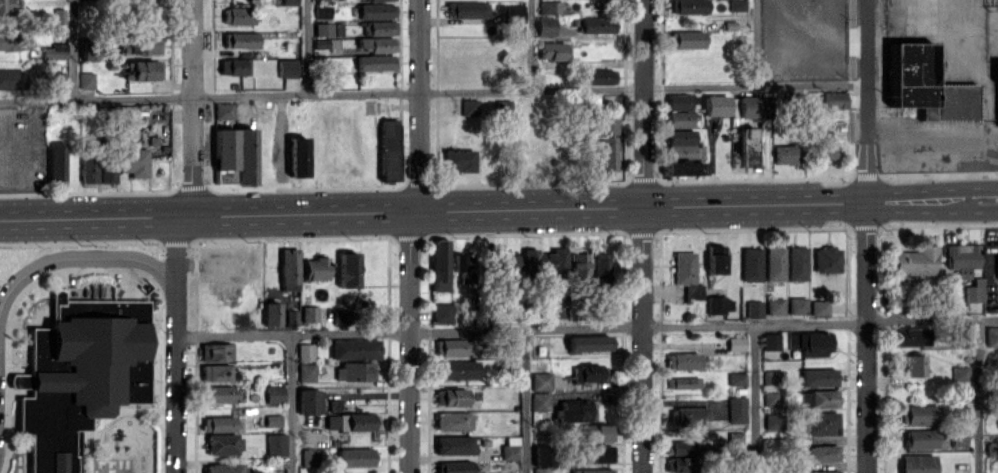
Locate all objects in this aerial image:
building: (134, 0)
building: (324, 0)
building: (381, 0)
building: (292, 2)
power substation: (994, 4)
building: (10, 5)
building: (739, 5)
building: (690, 6)
building: (552, 7)
building: (468, 9)
building: (379, 10)
building: (324, 12)
building: (517, 13)
building: (240, 15)
building: (61, 16)
building: (599, 25)
building: (547, 26)
building: (381, 27)
building: (330, 29)
building: (688, 38)
building: (242, 39)
building: (16, 41)
building: (146, 43)
road: (762, 43)
building: (379, 44)
road: (533, 45)
road: (307, 48)
road: (73, 50)
building: (58, 51)
building: (96, 51)
building: (556, 51)
building: (377, 62)
building: (236, 66)
building: (290, 68)
building: (145, 69)
building: (599, 77)
building: (11, 78)
building: (57, 79)
building: (88, 81)
building: (931, 86)
road: (854, 88)
road: (196, 92)
road: (422, 92)
road: (435, 92)
building: (836, 100)
building: (680, 101)
building: (719, 105)
building: (472, 106)
building: (225, 110)
building: (681, 119)
building: (612, 125)
building: (683, 141)
building: (828, 145)
building: (748, 146)
building: (390, 149)
building: (608, 153)
building: (788, 154)
building: (227, 155)
building: (247, 156)
building: (299, 156)
building: (461, 159)
building: (58, 162)
building: (135, 162)
building: (90, 168)
building: (685, 168)
building: (109, 171)
road: (941, 174)
road: (869, 175)
road: (191, 200)
road: (990, 201)
road: (584, 209)
road: (417, 211)
road: (93, 217)
road: (183, 232)
road: (646, 236)
road: (870, 236)
road: (75, 254)
building: (965, 258)
building: (717, 259)
building: (829, 259)
building: (919, 260)
building: (466, 261)
building: (533, 261)
building: (777, 263)
building: (799, 263)
building: (441, 264)
building: (557, 264)
building: (580, 264)
building: (753, 264)
building: (507, 265)
building: (317, 268)
building: (291, 269)
building: (349, 269)
building: (689, 275)
building: (607, 278)
building: (978, 290)
building: (722, 304)
building: (778, 305)
building: (800, 305)
building: (560, 306)
building: (822, 307)
building: (756, 308)
building: (444, 312)
building: (274, 313)
building: (312, 314)
building: (343, 316)
building: (294, 317)
road: (588, 328)
building: (913, 336)
building: (966, 337)
building: (993, 340)
building: (774, 341)
building: (813, 342)
building: (590, 343)
building: (739, 343)
building: (455, 347)
building: (357, 348)
building: (515, 349)
building: (218, 351)
building: (308, 352)
road: (412, 356)
road: (179, 360)
building: (685, 360)
building: (917, 365)
building: (461, 369)
building: (82, 370)
building: (357, 370)
building: (218, 372)
building: (309, 372)
building: (591, 373)
building: (963, 373)
building: (774, 377)
building: (821, 377)
building: (739, 378)
building: (543, 381)
building: (686, 382)
building: (221, 394)
building: (277, 394)
road: (980, 396)
building: (453, 397)
building: (774, 398)
building: (820, 398)
road: (756, 399)
building: (311, 401)
road: (527, 401)
building: (543, 401)
road: (292, 403)
building: (739, 409)
building: (574, 412)
building: (962, 412)
building: (921, 414)
building: (690, 416)
building: (275, 420)
building: (351, 421)
building: (455, 421)
building: (775, 421)
building: (220, 423)
building: (825, 423)
building: (599, 432)
building: (737, 436)
building: (961, 437)
building: (922, 438)
building: (224, 444)
building: (278, 444)
building: (457, 444)
building: (684, 447)
building: (513, 448)
building: (993, 448)
building: (596, 453)
building: (825, 453)
building: (312, 457)
building: (357, 457)
building: (920, 463)
building: (681, 464)
building: (456, 467)
building: (230, 468)
building: (801, 468)
building: (597, 470)

